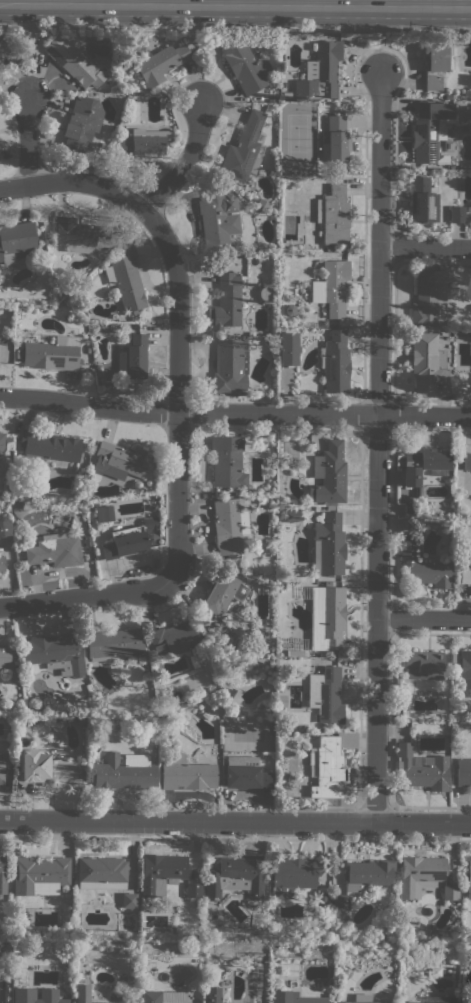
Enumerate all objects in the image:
road: (235, 6)
road: (235, 27)
building: (3, 50)
road: (381, 53)
building: (436, 57)
building: (74, 60)
road: (25, 62)
building: (160, 64)
road: (199, 64)
building: (245, 66)
building: (321, 72)
building: (81, 123)
building: (430, 131)
building: (334, 139)
road: (27, 142)
building: (143, 142)
building: (448, 145)
building: (243, 149)
road: (379, 157)
road: (74, 181)
building: (423, 201)
building: (469, 209)
building: (456, 214)
building: (333, 215)
building: (218, 220)
building: (82, 235)
building: (17, 241)
road: (424, 246)
building: (329, 249)
building: (127, 280)
building: (332, 287)
building: (265, 293)
building: (430, 297)
building: (227, 301)
building: (334, 323)
road: (177, 324)
building: (288, 348)
building: (16, 353)
building: (52, 354)
building: (132, 358)
building: (335, 362)
building: (230, 365)
building: (428, 366)
road: (187, 412)
road: (423, 414)
building: (1, 443)
building: (48, 447)
building: (86, 447)
building: (121, 461)
building: (467, 461)
building: (227, 462)
building: (424, 465)
building: (328, 475)
building: (6, 486)
building: (101, 514)
building: (292, 515)
building: (150, 523)
building: (231, 526)
building: (405, 526)
building: (4, 527)
building: (418, 533)
road: (376, 534)
building: (154, 536)
building: (124, 545)
building: (328, 545)
building: (54, 550)
building: (2, 563)
building: (424, 568)
building: (465, 577)
road: (86, 594)
building: (221, 594)
building: (325, 615)
road: (423, 618)
building: (175, 639)
building: (113, 644)
building: (296, 647)
building: (54, 653)
building: (4, 656)
building: (452, 660)
building: (422, 665)
building: (463, 671)
building: (229, 693)
building: (325, 694)
building: (87, 709)
building: (34, 719)
building: (80, 721)
building: (47, 769)
building: (327, 769)
building: (421, 769)
building: (2, 772)
building: (123, 772)
building: (463, 772)
building: (186, 773)
building: (245, 773)
road: (235, 821)
building: (101, 872)
building: (161, 873)
building: (3, 874)
building: (368, 874)
building: (39, 875)
building: (292, 875)
building: (420, 875)
building: (235, 876)
building: (468, 879)
building: (193, 890)
building: (449, 892)
building: (321, 899)
building: (129, 900)
building: (340, 902)
building: (192, 936)
building: (141, 975)
building: (23, 993)
building: (83, 993)
building: (211, 995)
building: (162, 997)
building: (292, 998)
building: (360, 999)
building: (436, 999)

